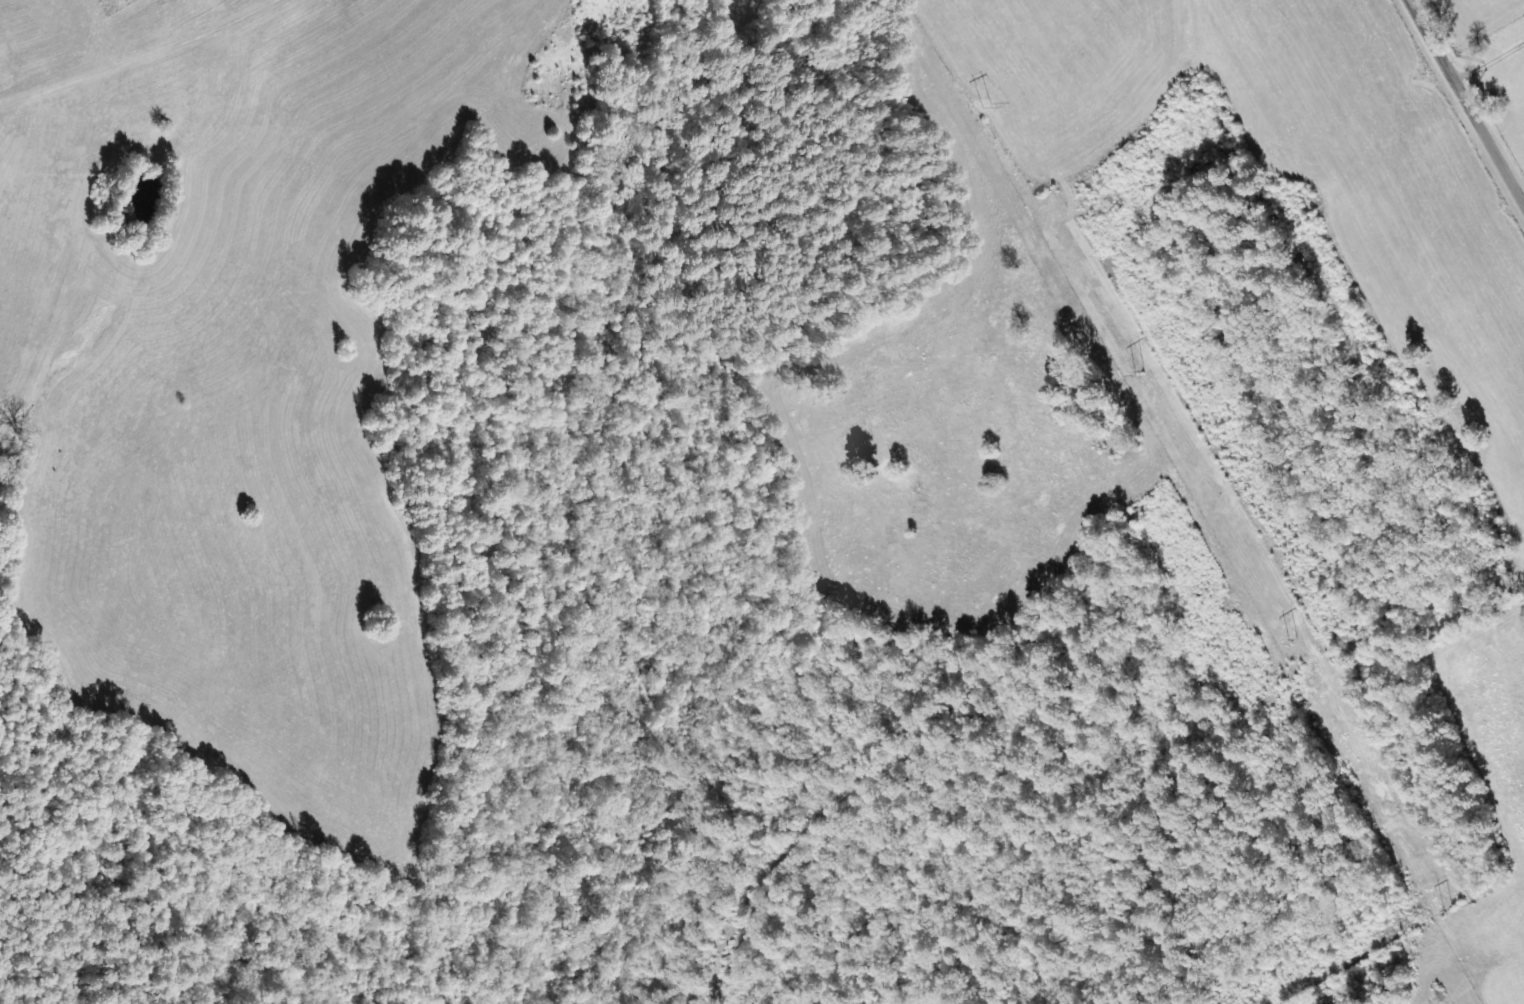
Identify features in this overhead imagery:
road: (1465, 105)
power tower: (984, 108)
power tower: (1142, 371)
power tower: (1294, 640)
power tower: (1451, 910)

